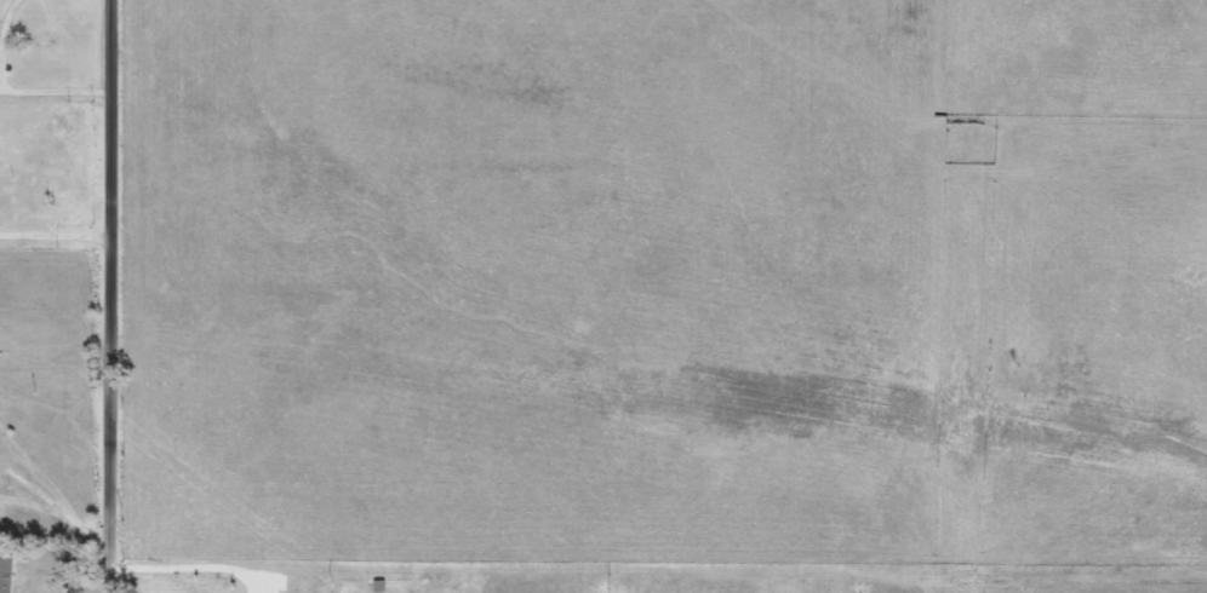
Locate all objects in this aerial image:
road: (11, 92)
road: (58, 237)
road: (114, 296)
road: (51, 505)
road: (185, 569)
building: (30, 582)
building: (379, 587)

